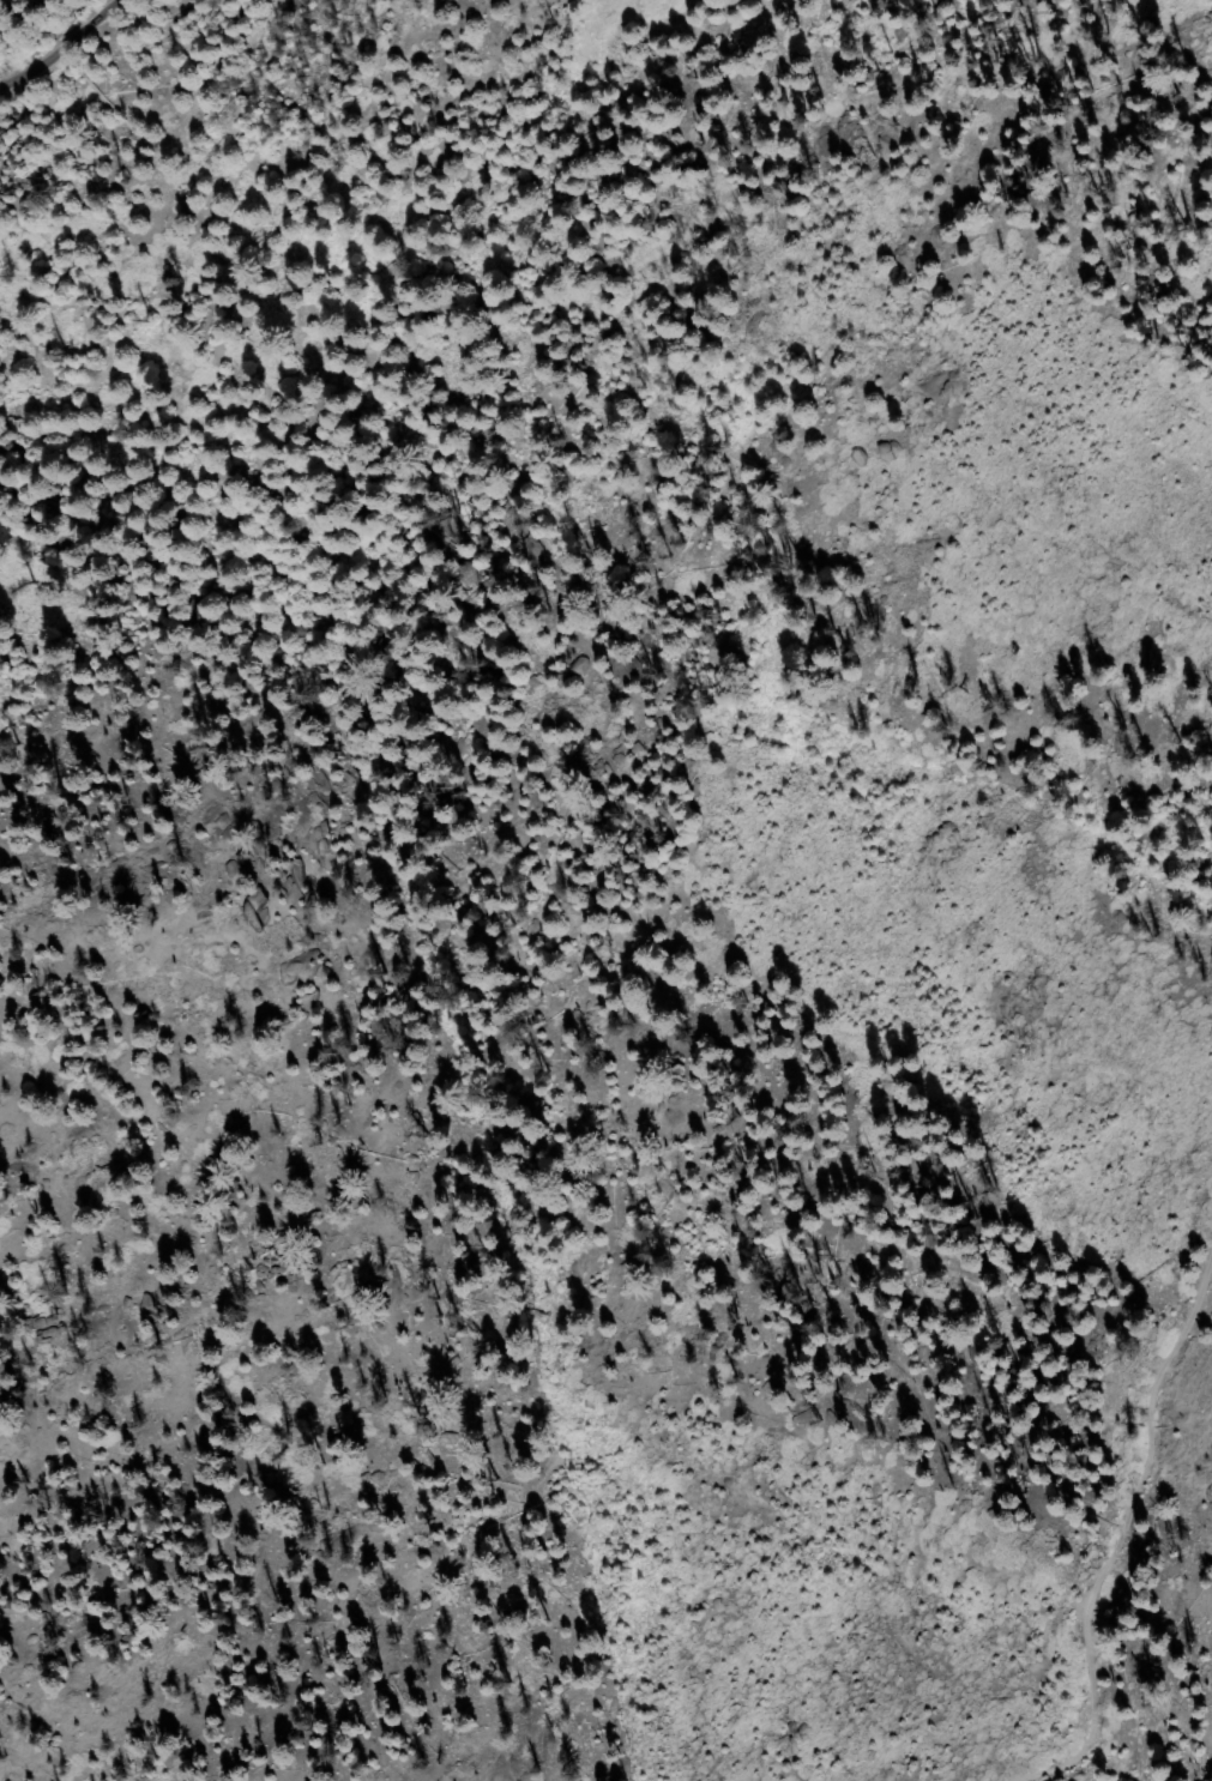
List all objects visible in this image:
road: (60, 44)
road: (1123, 1535)

